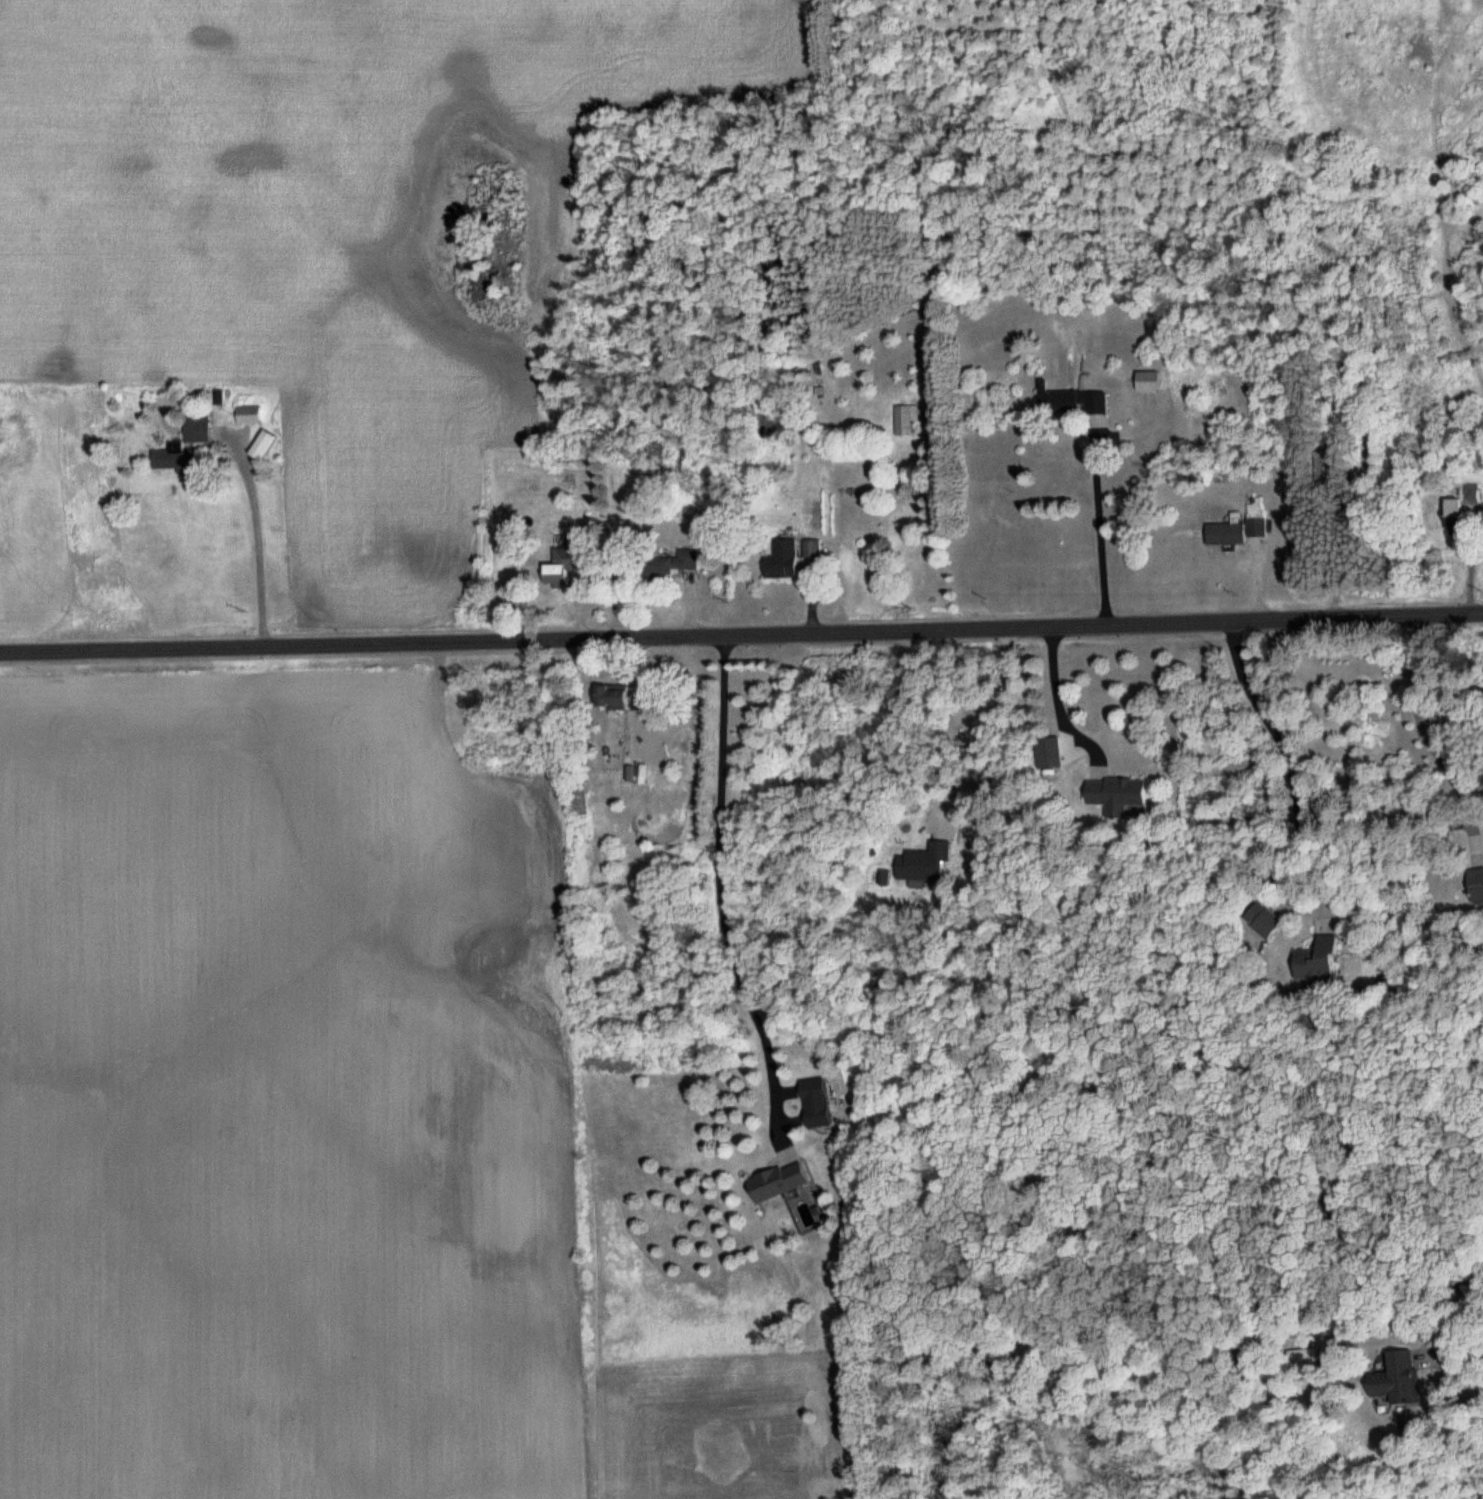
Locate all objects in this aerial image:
building: (1148, 381)
building: (1073, 403)
building: (248, 415)
building: (905, 420)
building: (262, 446)
building: (183, 447)
building: (1460, 505)
road: (1100, 518)
building: (1239, 526)
road: (257, 535)
building: (812, 555)
building: (783, 560)
building: (565, 564)
building: (667, 565)
road: (741, 631)
building: (612, 697)
road: (1059, 708)
road: (978, 730)
road: (1428, 738)
road: (1286, 756)
building: (1116, 795)
building: (924, 865)
building: (1476, 886)
road: (721, 891)
building: (1263, 921)
building: (1317, 963)
building: (816, 1103)
building: (777, 1182)
building: (806, 1213)
road: (1460, 1374)
building: (1397, 1380)

